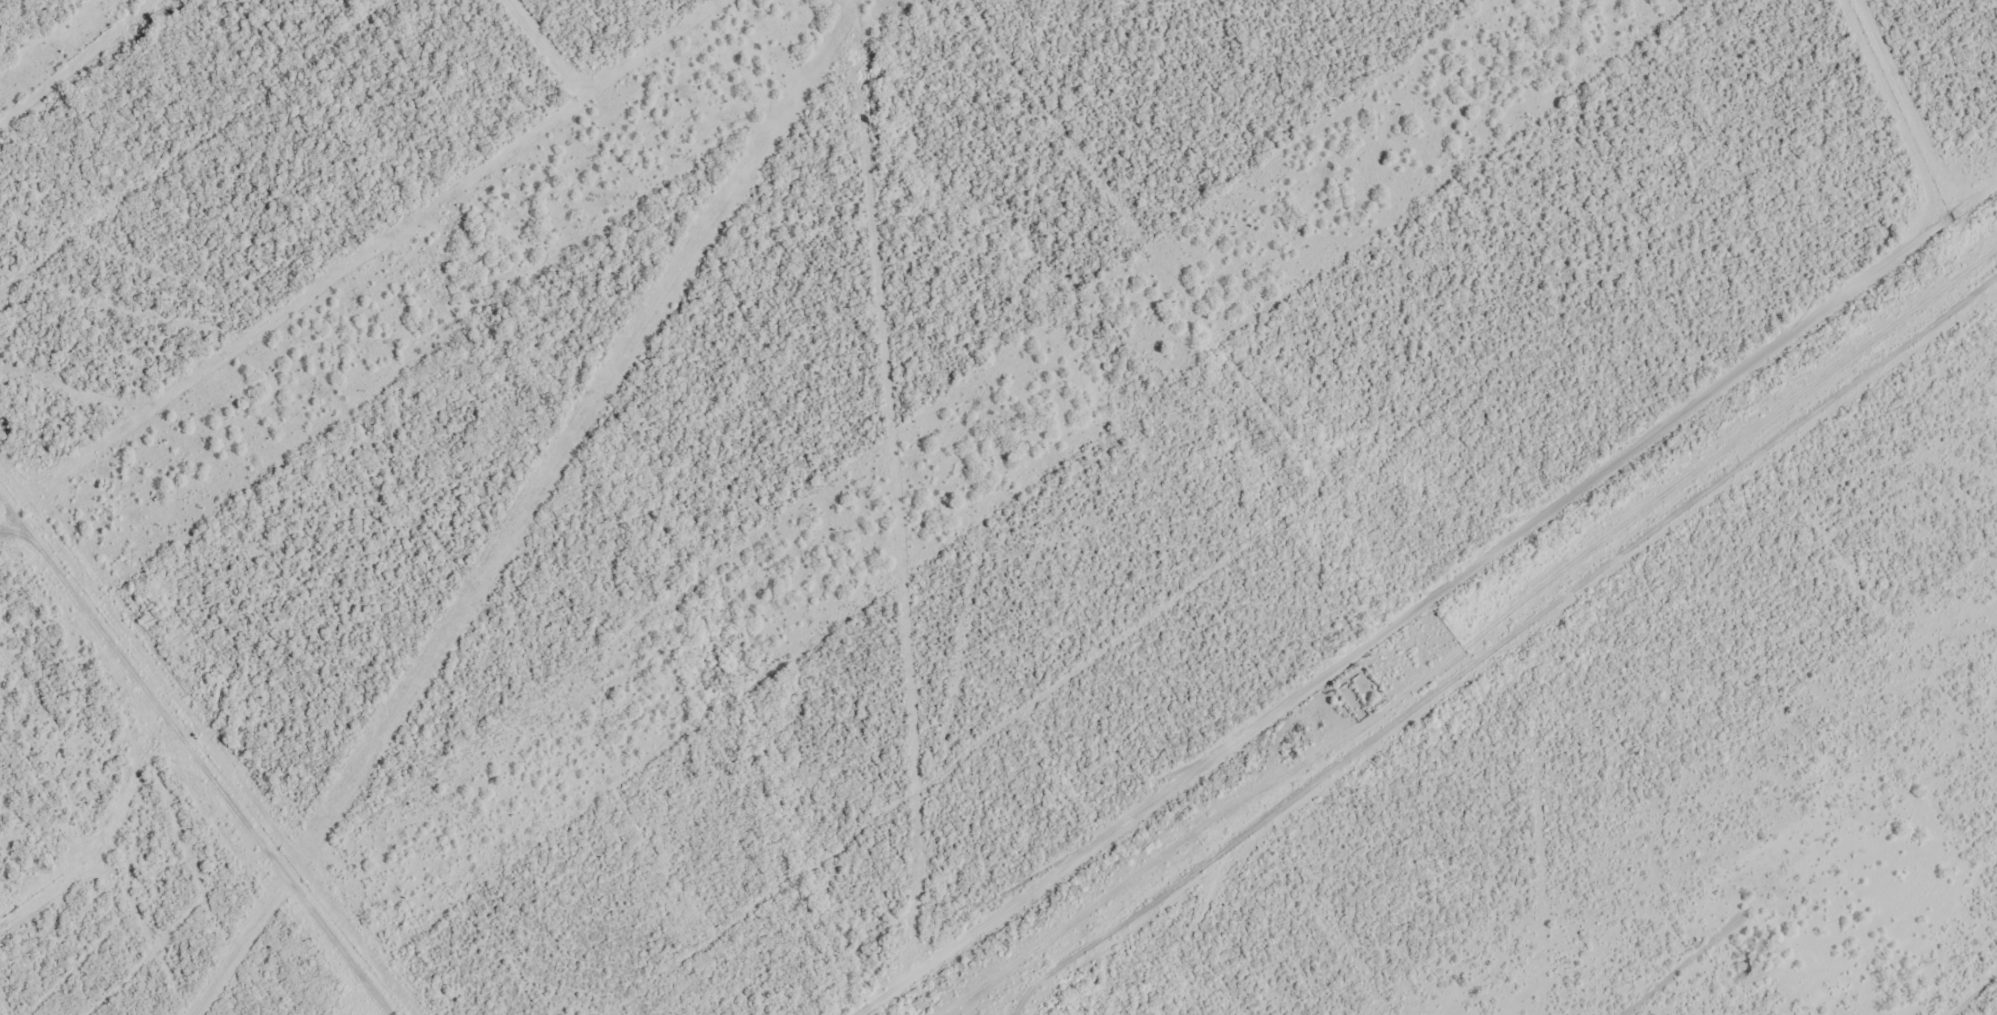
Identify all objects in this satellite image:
road: (1427, 600)
road: (1499, 647)

